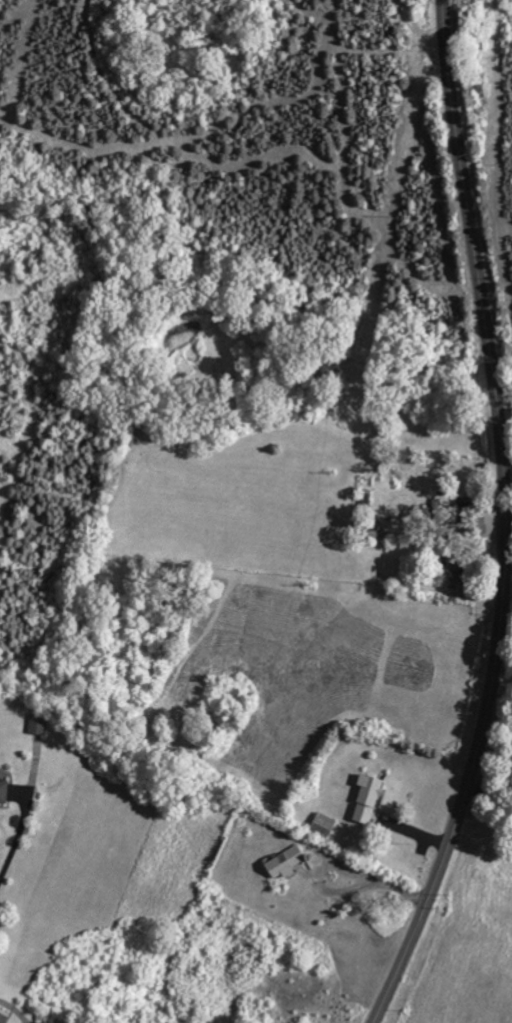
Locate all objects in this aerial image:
road: (505, 520)
building: (372, 536)
building: (455, 573)
building: (40, 724)
building: (6, 791)
road: (489, 798)
building: (371, 799)
road: (26, 818)
building: (326, 826)
building: (289, 862)
road: (365, 883)
building: (4, 1017)
building: (54, 1022)

